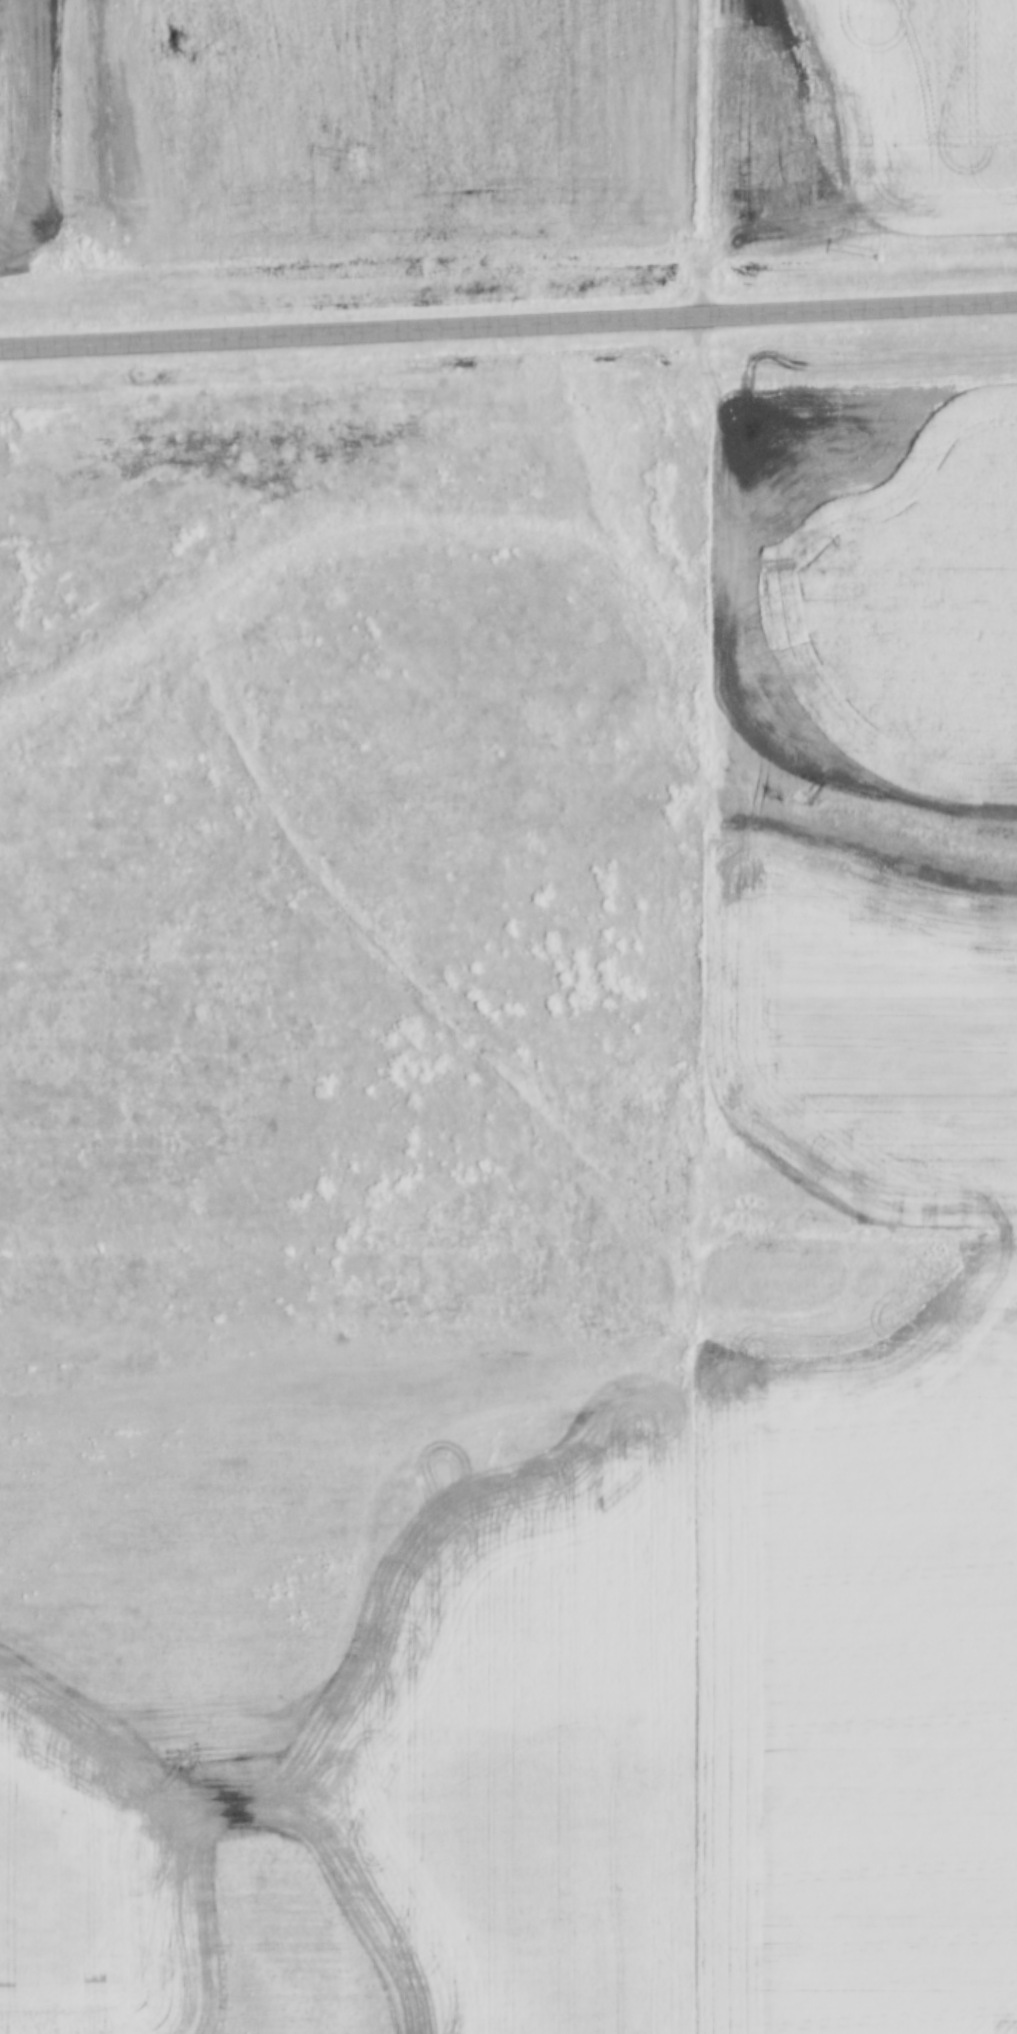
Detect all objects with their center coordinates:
crop: (0, 74)
crop: (689, 111)
crop: (863, 120)
crop: (79, 147)
power tower: (353, 158)
power tower: (880, 257)
road: (508, 326)
crop: (860, 813)
crop: (529, 1673)

